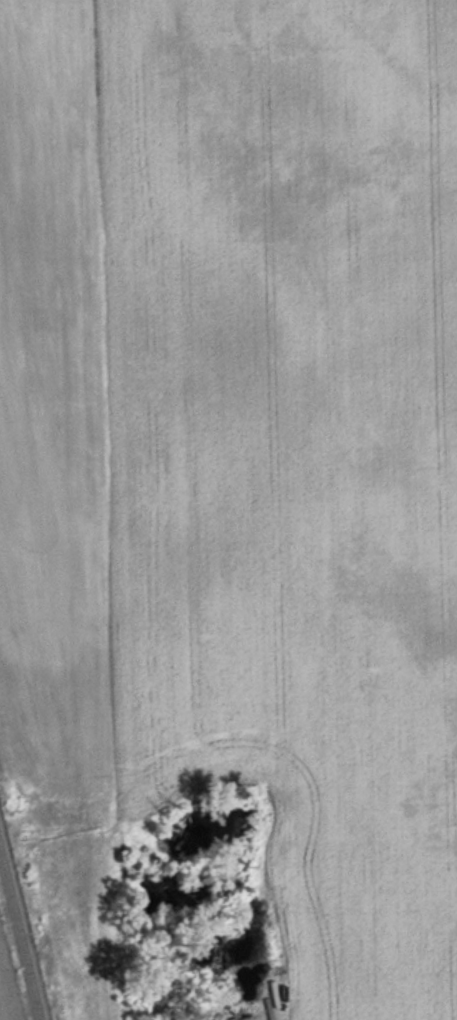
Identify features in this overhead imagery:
railway: (21, 930)

